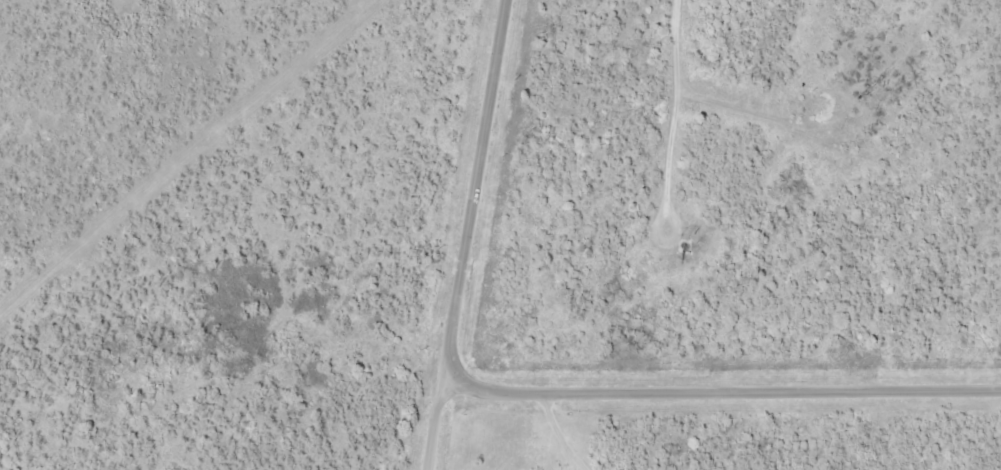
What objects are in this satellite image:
road: (650, 114)
road: (460, 234)
road: (718, 387)

